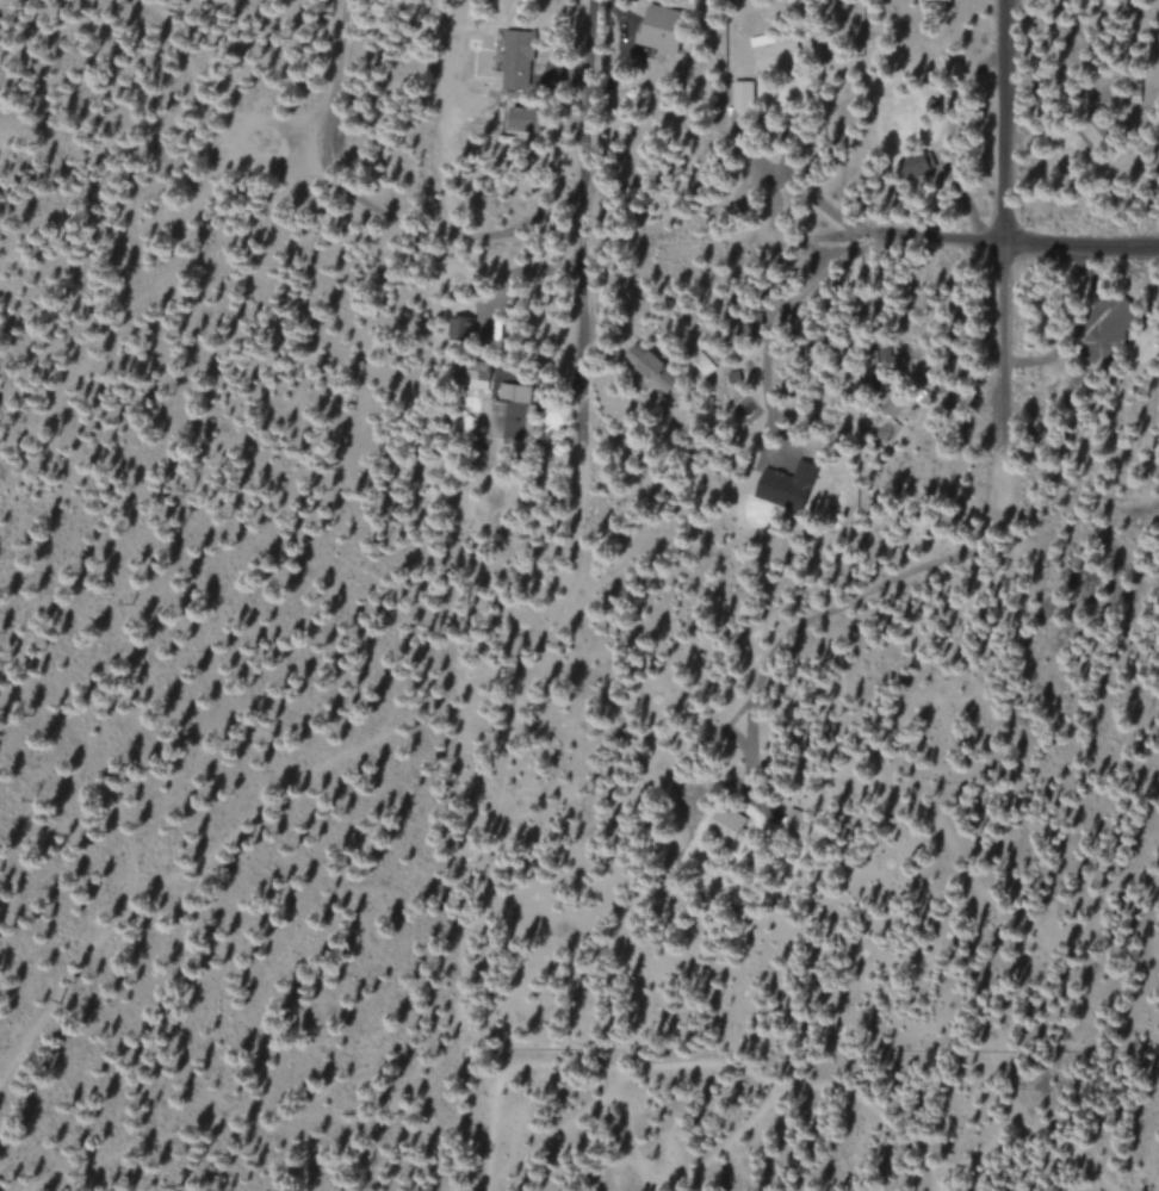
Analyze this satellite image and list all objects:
building: (664, 30)
building: (774, 51)
building: (516, 61)
building: (743, 95)
building: (526, 119)
road: (371, 205)
road: (582, 221)
road: (1002, 224)
road: (1014, 243)
building: (458, 327)
building: (510, 411)
road: (862, 596)

